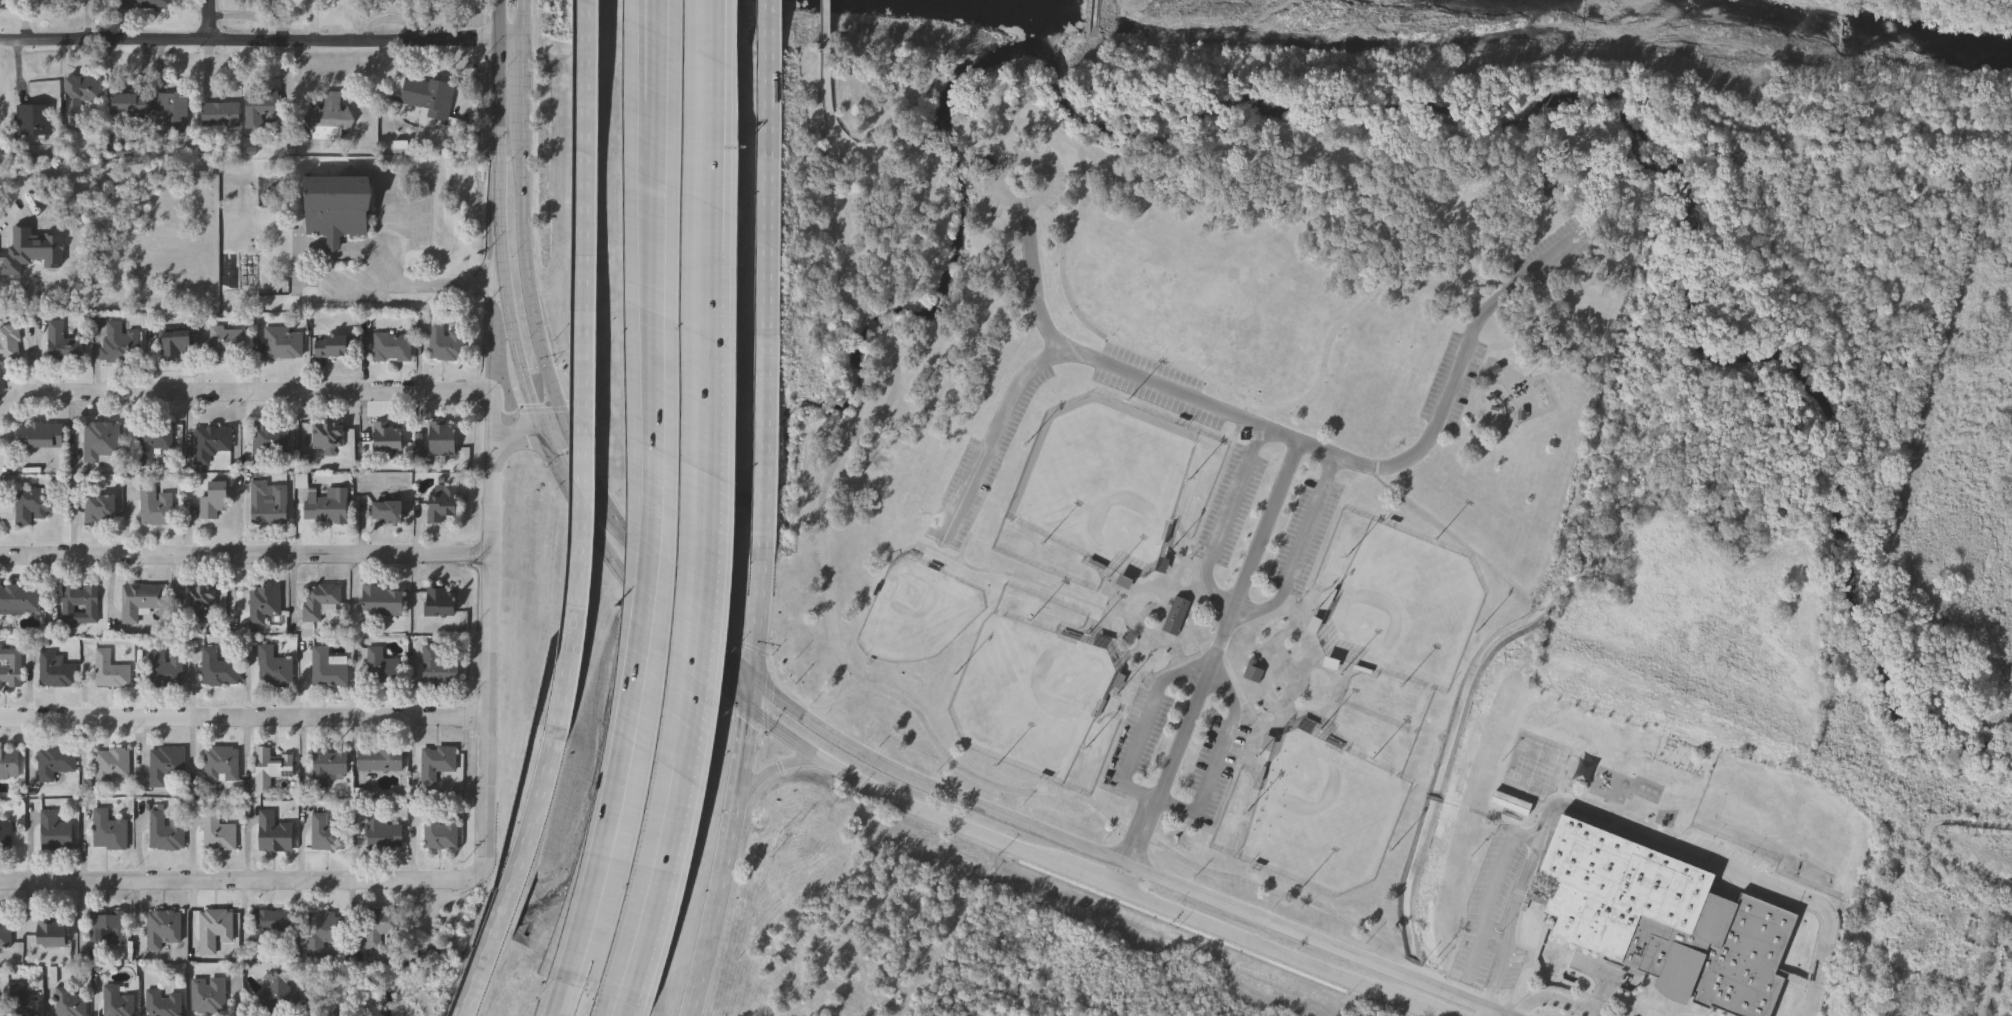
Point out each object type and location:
building: (145, 3)
road: (826, 17)
dam: (1095, 18)
road: (525, 19)
road: (210, 21)
road: (262, 44)
road: (712, 64)
road: (721, 64)
road: (653, 79)
road: (827, 79)
road: (524, 82)
building: (84, 91)
building: (430, 97)
building: (157, 108)
building: (260, 108)
building: (221, 115)
building: (37, 117)
building: (332, 117)
road: (1049, 131)
road: (881, 155)
road: (953, 156)
road: (1086, 175)
road: (497, 185)
road: (1604, 188)
building: (338, 208)
road: (1399, 216)
road: (845, 222)
road: (711, 235)
building: (32, 252)
parking lot: (1546, 261)
road: (1032, 268)
road: (771, 274)
road: (528, 278)
road: (413, 284)
road: (872, 325)
building: (9, 344)
building: (62, 344)
building: (176, 344)
building: (225, 344)
building: (284, 344)
building: (445, 344)
building: (119, 345)
building: (333, 348)
building: (392, 349)
road: (592, 364)
road: (1184, 368)
parking lot: (1453, 384)
road: (273, 397)
road: (531, 402)
road: (5, 409)
road: (1245, 412)
traffic signals: (568, 427)
road: (1264, 429)
road: (554, 431)
park: (1191, 435)
building: (39, 436)
traffic signals: (540, 436)
building: (329, 437)
building: (390, 438)
building: (444, 441)
building: (100, 444)
building: (151, 444)
building: (212, 444)
building: (271, 444)
road: (516, 444)
road: (583, 460)
park: (1103, 482)
road: (664, 490)
building: (215, 502)
building: (444, 503)
building: (269, 504)
building: (30, 505)
building: (327, 506)
building: (155, 508)
parking lot: (1231, 509)
building: (100, 510)
building: (388, 513)
road: (584, 521)
parking lot: (1304, 538)
road: (243, 556)
road: (702, 556)
building: (20, 600)
building: (320, 601)
building: (139, 602)
building: (200, 602)
building: (384, 602)
building: (442, 603)
road: (1235, 605)
building: (80, 608)
building: (266, 608)
park: (1402, 609)
park: (917, 612)
building: (1175, 617)
building: (1939, 627)
road: (754, 629)
road: (690, 657)
road: (1210, 666)
road: (486, 667)
building: (11, 668)
road: (1212, 668)
building: (166, 669)
building: (329, 669)
building: (382, 669)
building: (439, 669)
building: (218, 670)
building: (275, 670)
building: (55, 671)
building: (110, 671)
building: (1253, 673)
traffic signals: (750, 675)
building: (1116, 683)
park: (1029, 696)
traffic signals: (747, 710)
road: (242, 720)
parking lot: (1138, 740)
road: (853, 746)
building: (381, 761)
building: (437, 763)
building: (55, 764)
building: (10, 765)
building: (222, 766)
building: (328, 766)
building: (111, 767)
building: (168, 768)
building: (271, 770)
road: (767, 773)
parking lot: (1212, 773)
building: (1583, 773)
building: (1963, 778)
road: (990, 784)
road: (901, 800)
building: (1511, 805)
park: (1322, 816)
building: (442, 831)
building: (110, 832)
building: (328, 833)
building: (56, 834)
building: (166, 834)
building: (219, 834)
building: (275, 834)
building: (382, 834)
road: (1637, 834)
building: (6, 836)
road: (723, 864)
road: (519, 872)
road: (656, 880)
road: (1094, 881)
road: (234, 883)
road: (1494, 893)
road: (1151, 903)
parking lot: (1491, 905)
building: (1663, 920)
building: (270, 924)
building: (381, 927)
building: (107, 929)
building: (162, 930)
building: (215, 930)
building: (324, 932)
building: (6, 934)
building: (54, 935)
road: (1495, 939)
road: (1347, 951)
road: (1294, 960)
road: (1992, 967)
road: (570, 993)
building: (209, 996)
building: (289, 997)
road: (1557, 1001)
building: (71, 1002)
building: (118, 1003)
road: (627, 1003)
building: (163, 1004)
building: (24, 1006)
road: (1422, 1010)

